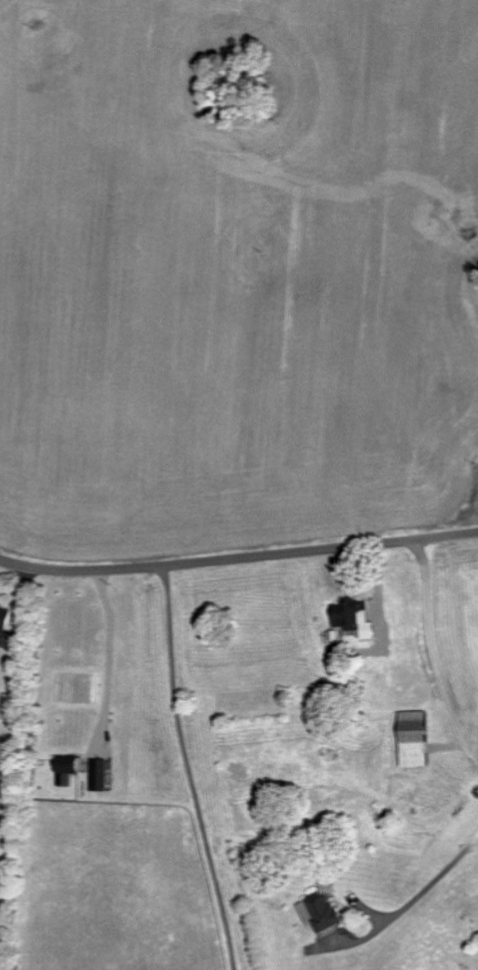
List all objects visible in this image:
road: (238, 558)
building: (5, 616)
building: (355, 616)
road: (107, 657)
road: (424, 658)
building: (415, 739)
building: (67, 768)
road: (182, 768)
building: (98, 774)
building: (321, 911)

